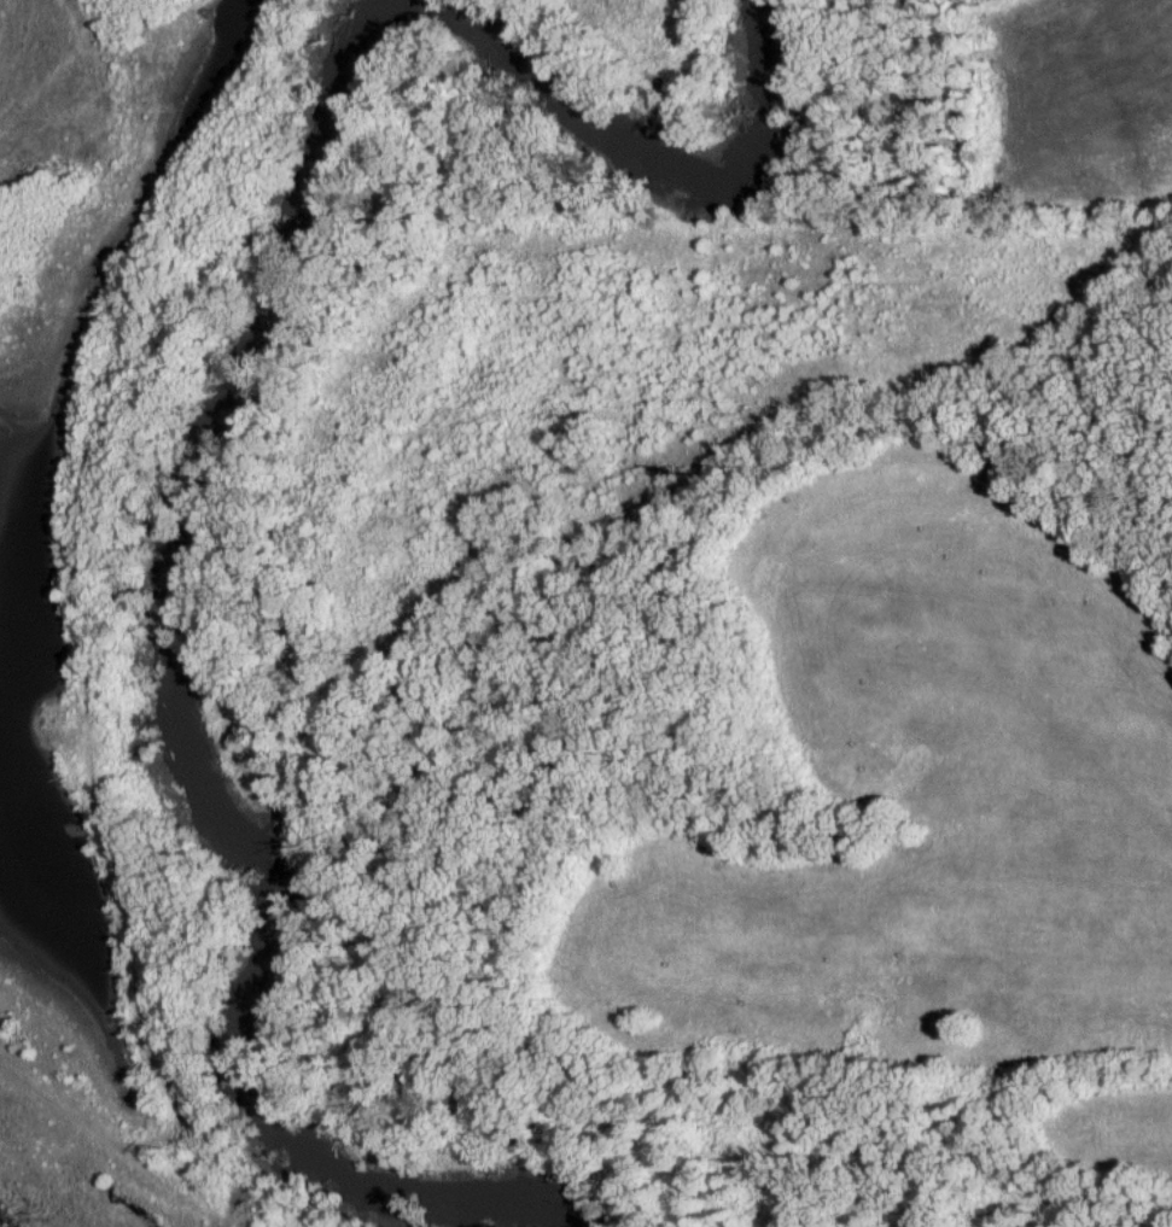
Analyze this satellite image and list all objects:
power tower: (151, 1156)

